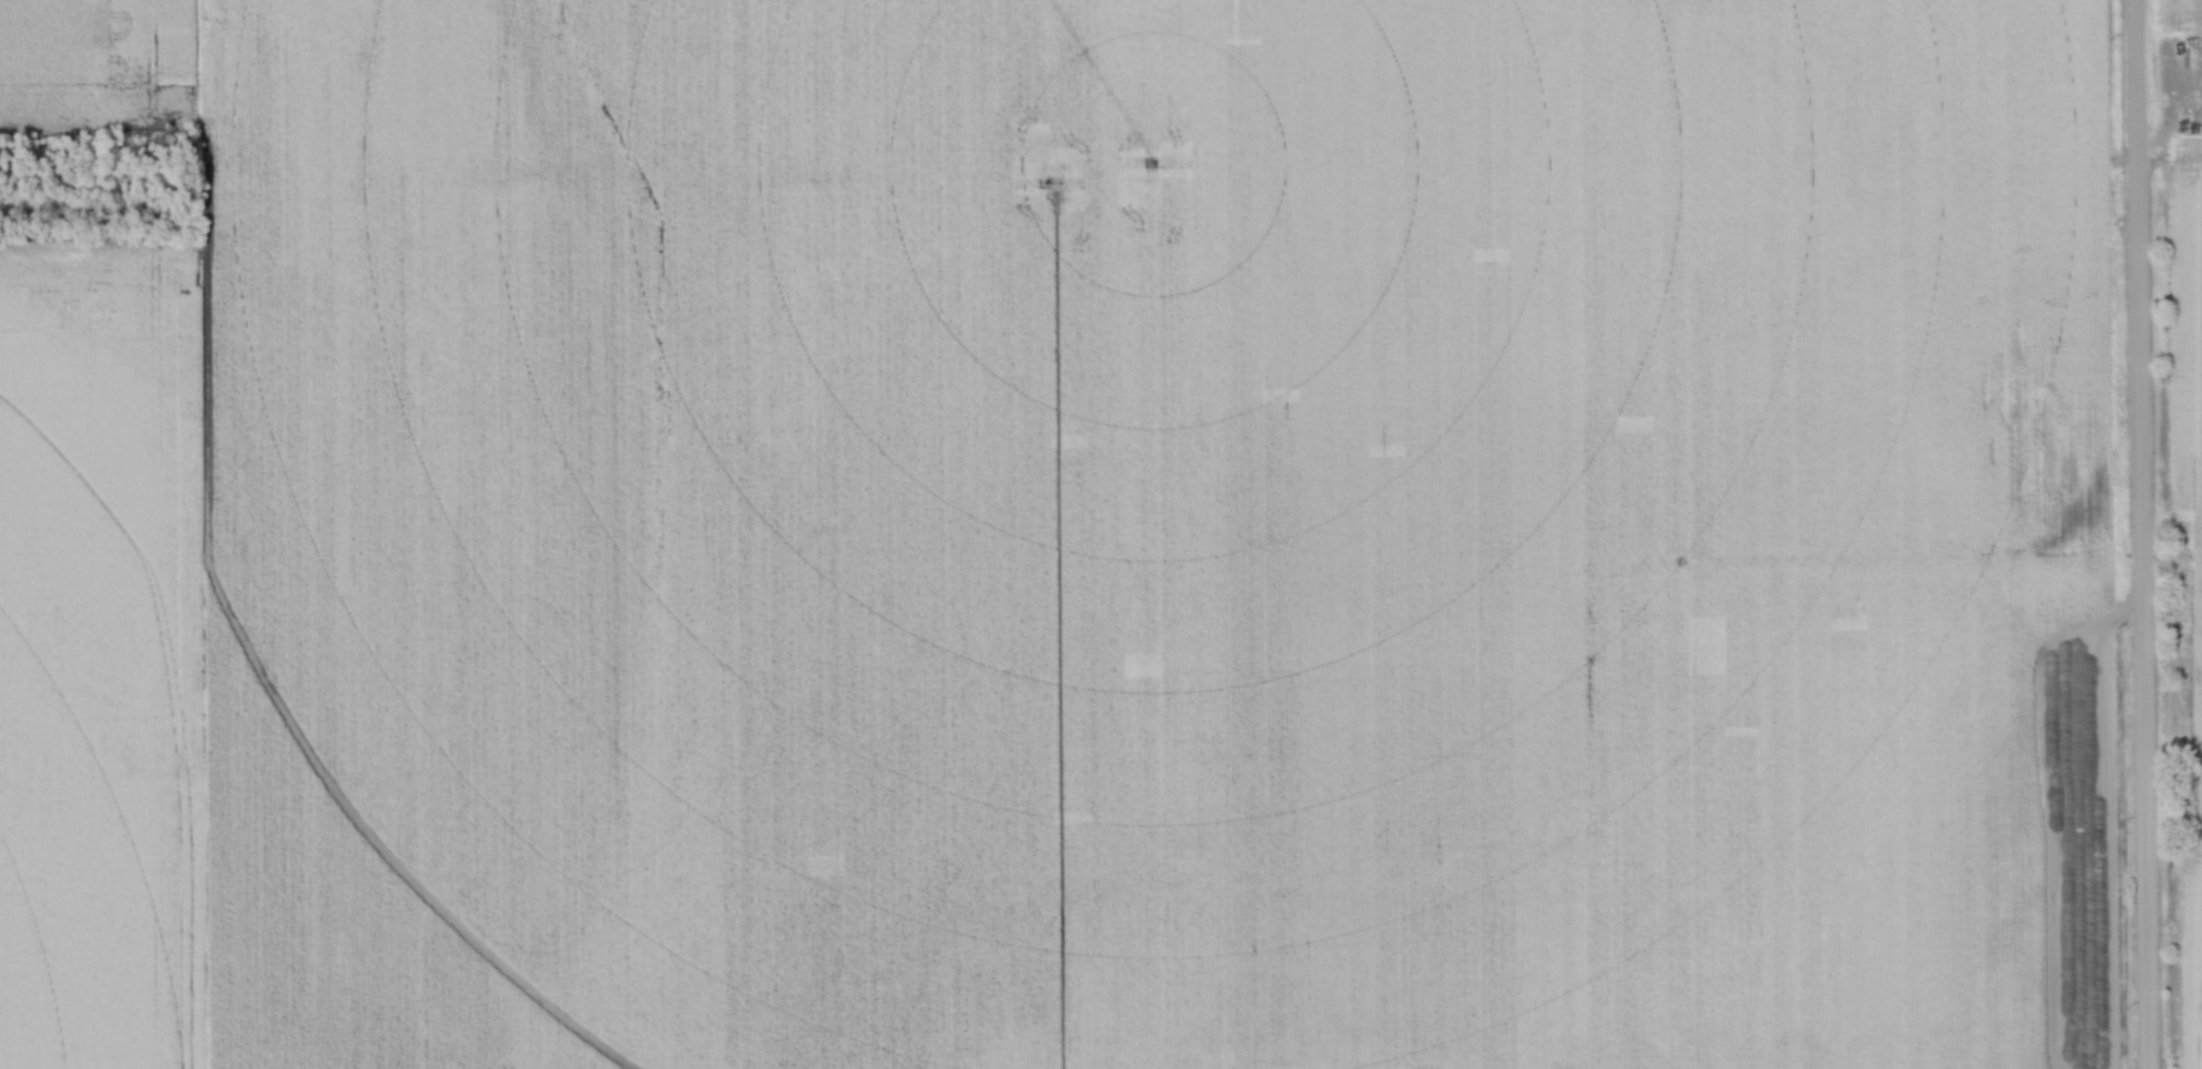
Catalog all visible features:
road: (2144, 534)

